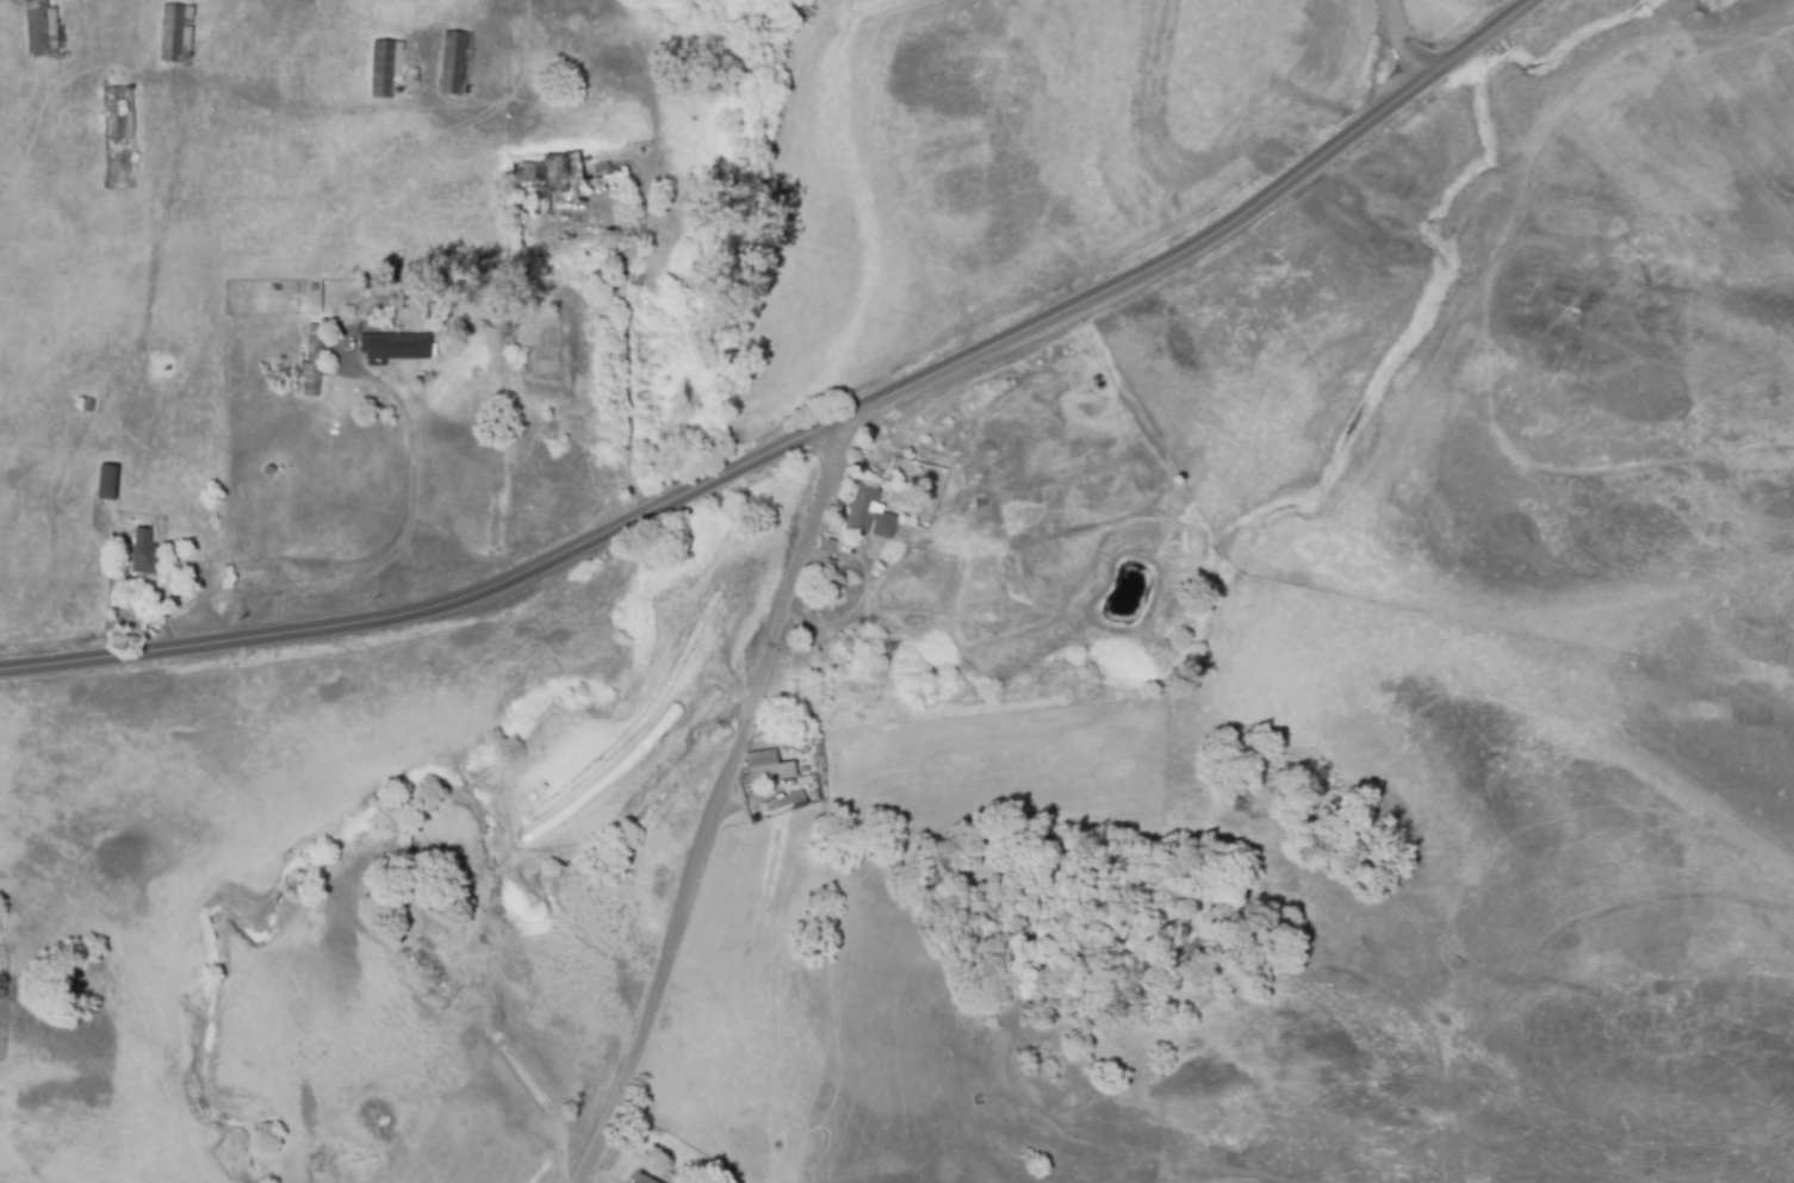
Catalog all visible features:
building: (38, 27)
building: (172, 32)
road: (1407, 37)
building: (454, 63)
building: (383, 69)
building: (113, 111)
building: (550, 169)
road: (631, 340)
building: (399, 347)
building: (314, 361)
road: (807, 438)
building: (110, 482)
building: (870, 515)
road: (409, 528)
building: (144, 553)
building: (828, 565)
building: (788, 747)
building: (769, 767)
building: (786, 803)
road: (722, 804)
building: (379, 1122)
building: (643, 1179)

